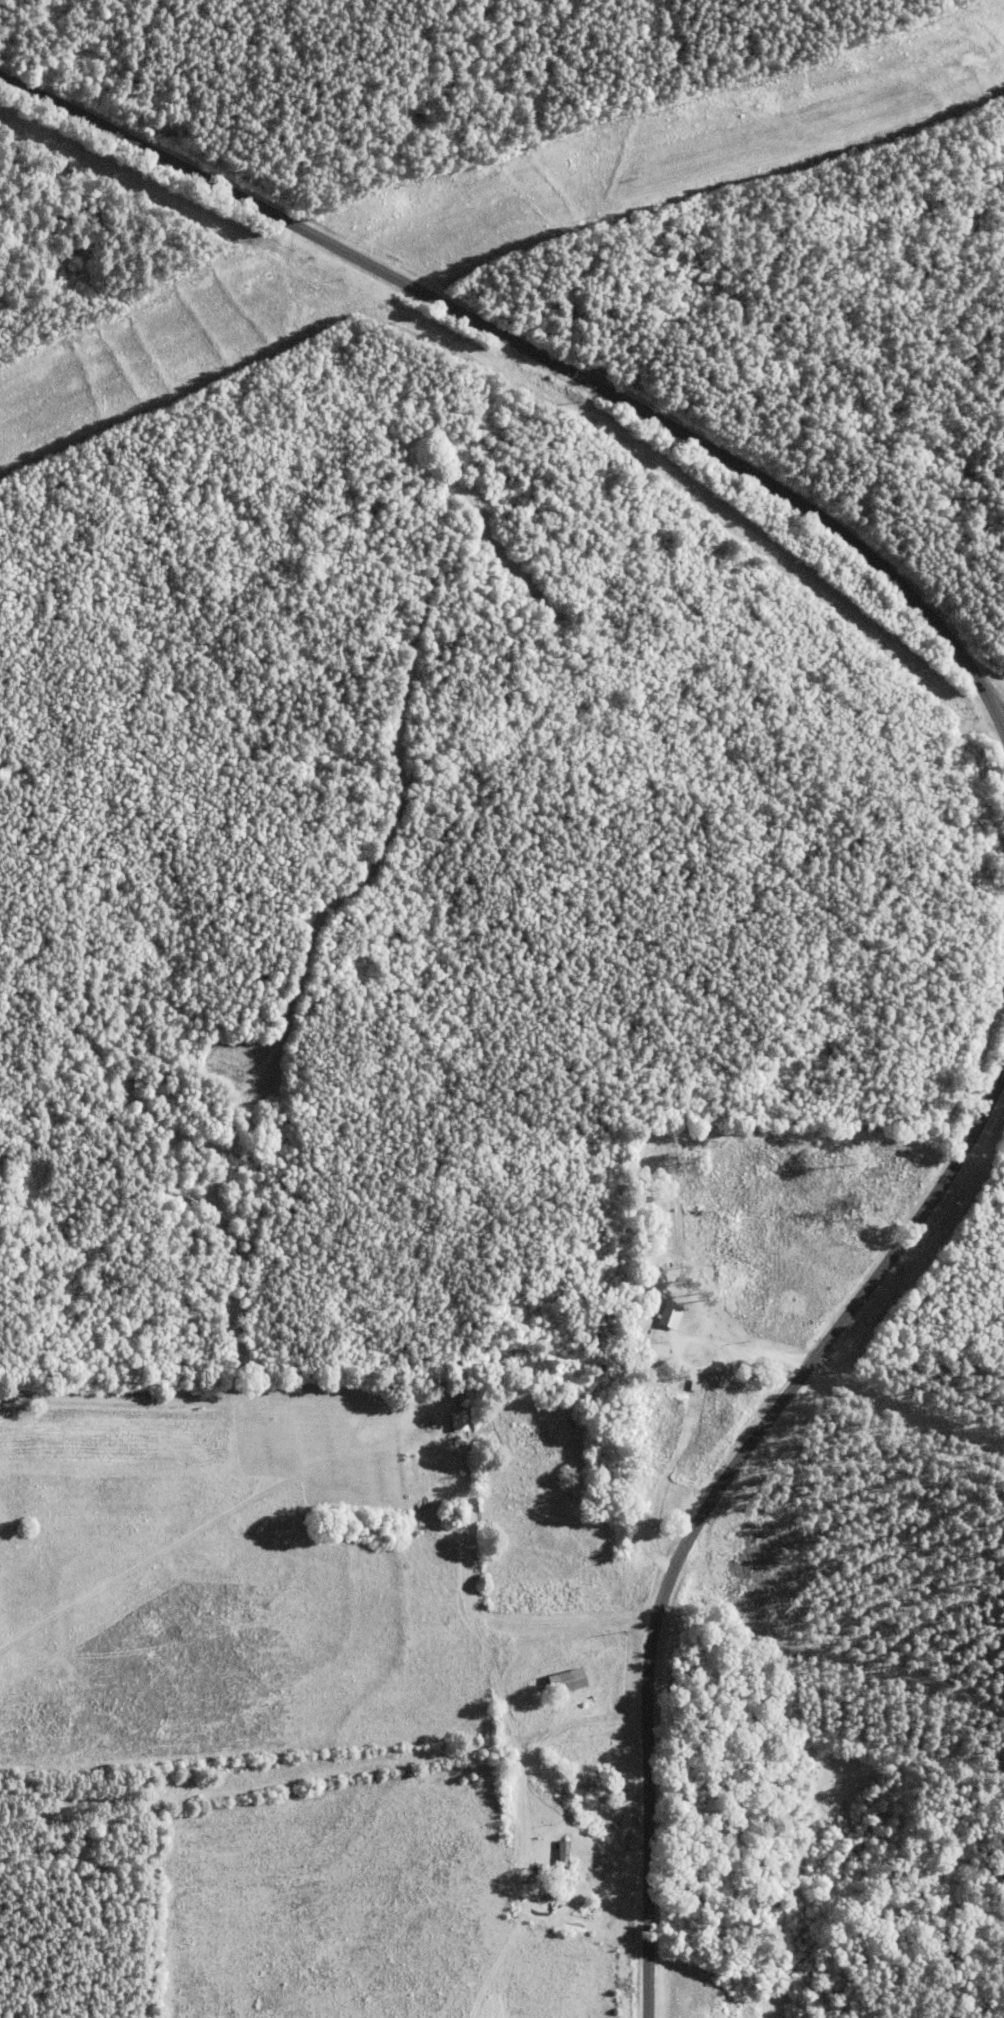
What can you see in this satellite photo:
road: (524, 348)
road: (999, 702)
road: (999, 713)
building: (660, 1316)
building: (641, 1355)
building: (449, 1422)
road: (702, 1498)
building: (556, 1680)
building: (550, 1864)

